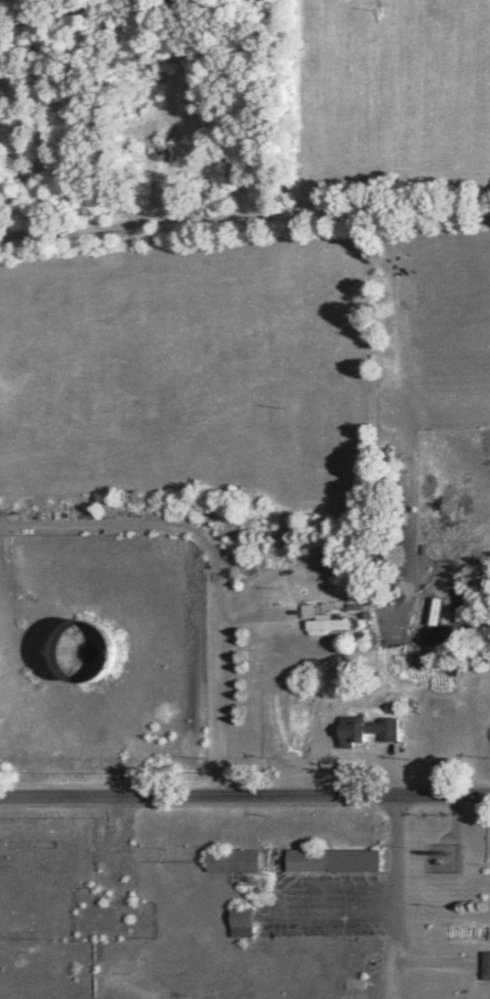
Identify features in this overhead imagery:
road: (244, 225)
road: (218, 566)
building: (436, 613)
building: (326, 624)
building: (88, 658)
building: (367, 732)
road: (245, 801)
building: (333, 862)
building: (233, 863)
road: (398, 901)
building: (241, 924)
building: (486, 967)

